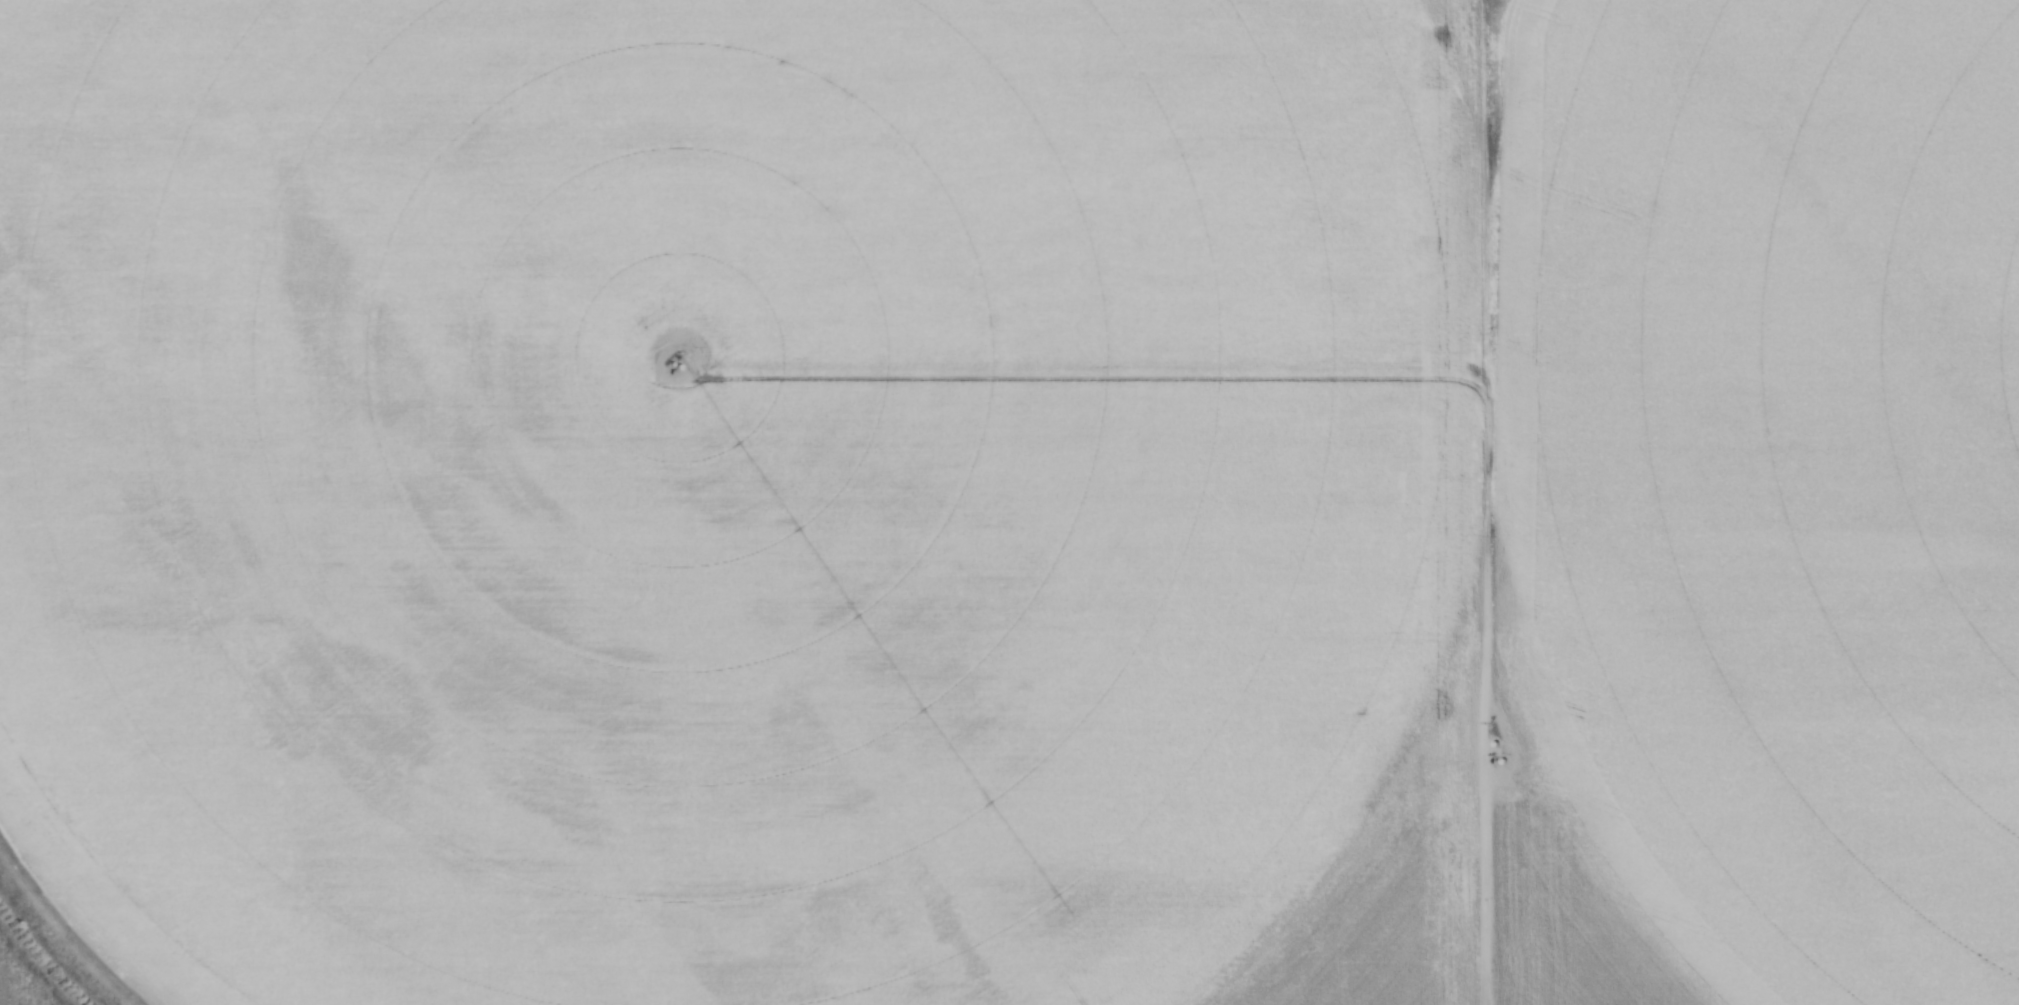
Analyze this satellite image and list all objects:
building: (94, 320)

